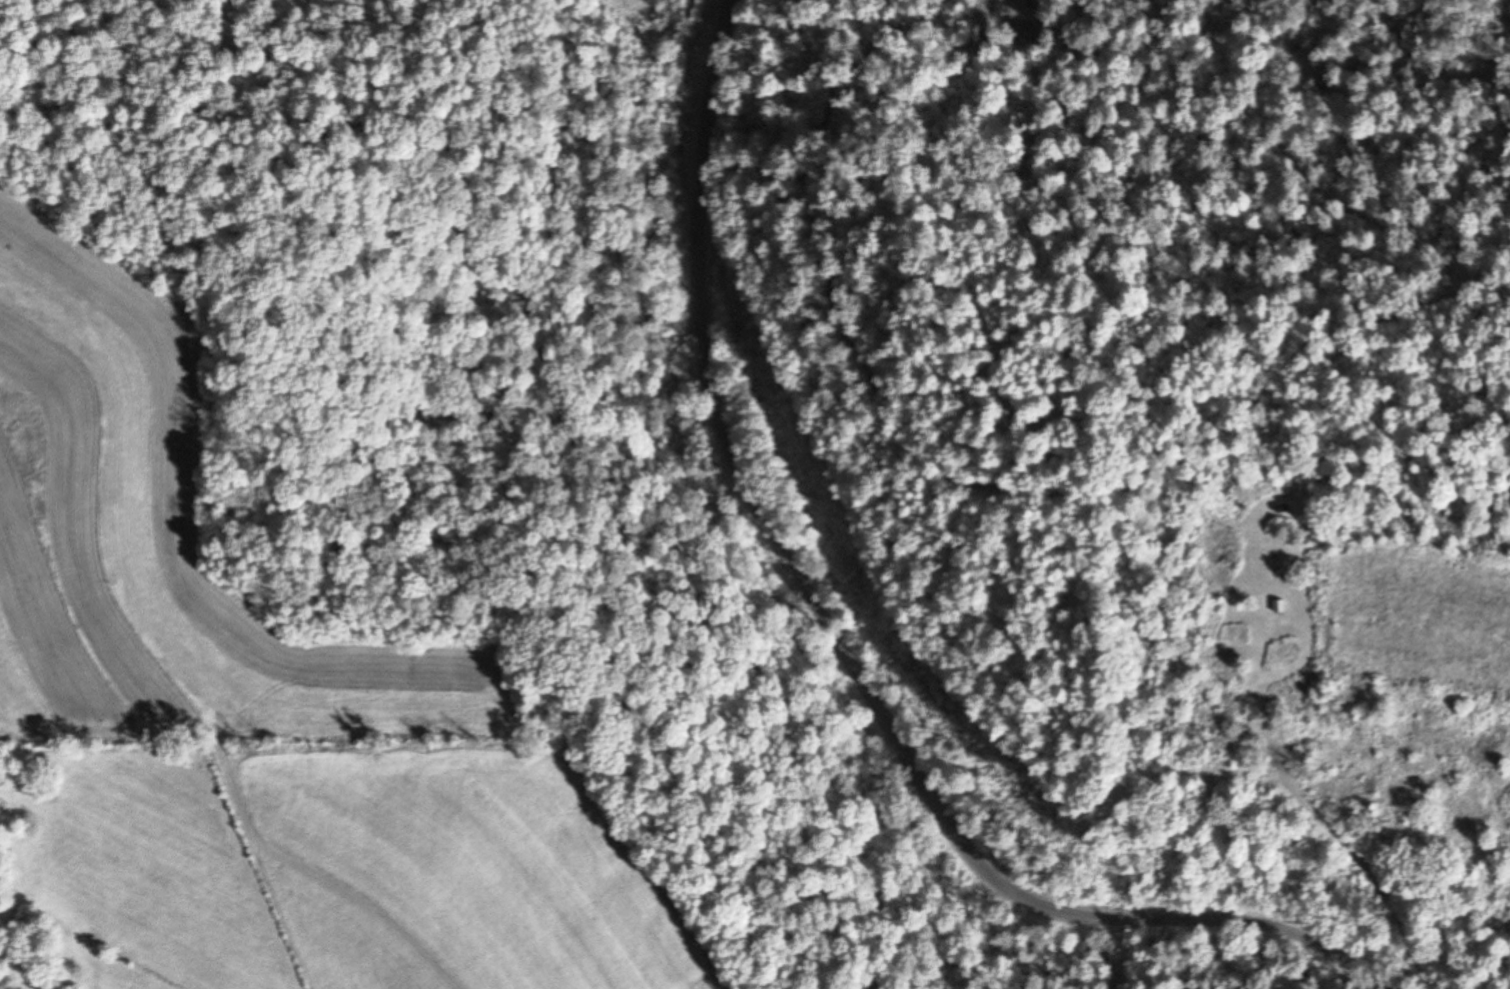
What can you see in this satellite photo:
road: (845, 653)

